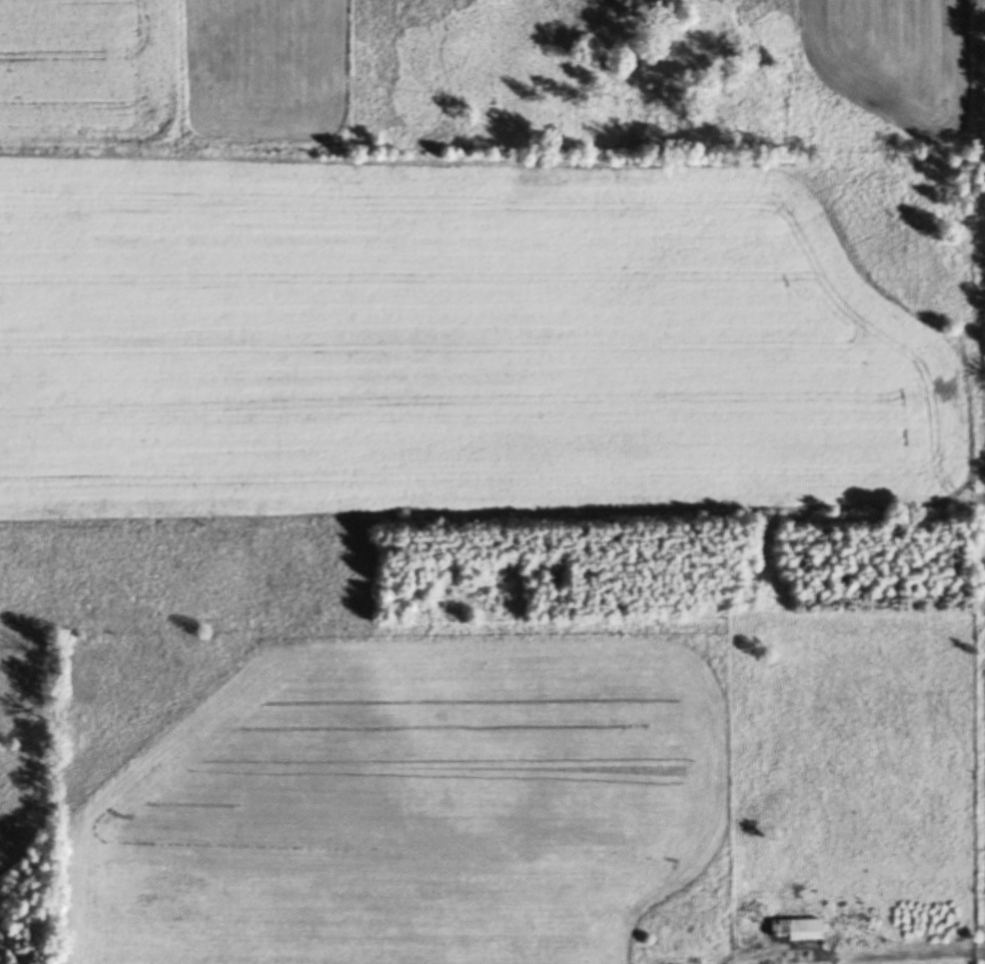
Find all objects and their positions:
building: (811, 928)

